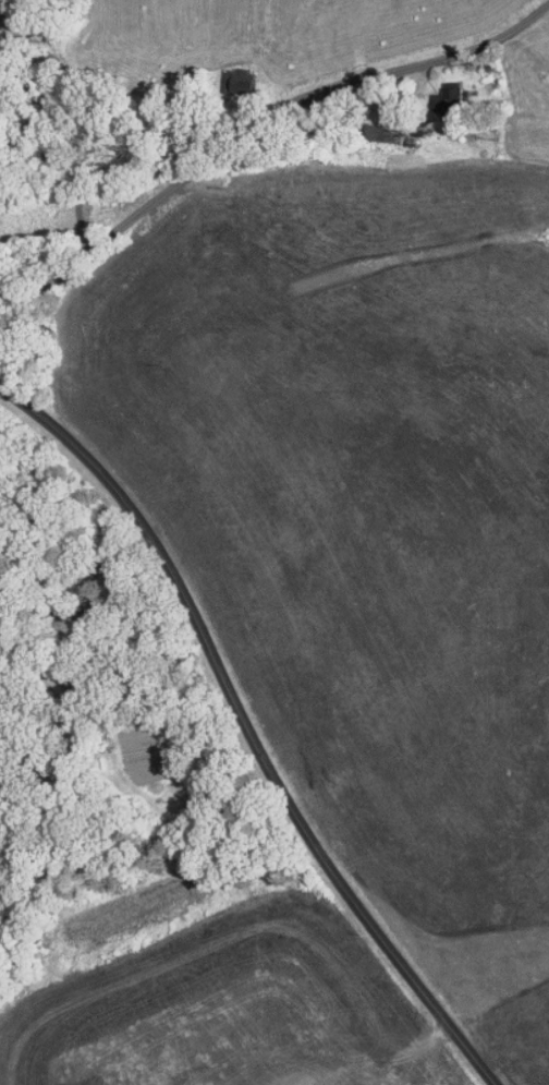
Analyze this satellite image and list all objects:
building: (221, 74)
building: (431, 89)
road: (255, 110)
building: (361, 124)
road: (58, 130)
road: (36, 656)
road: (249, 730)

